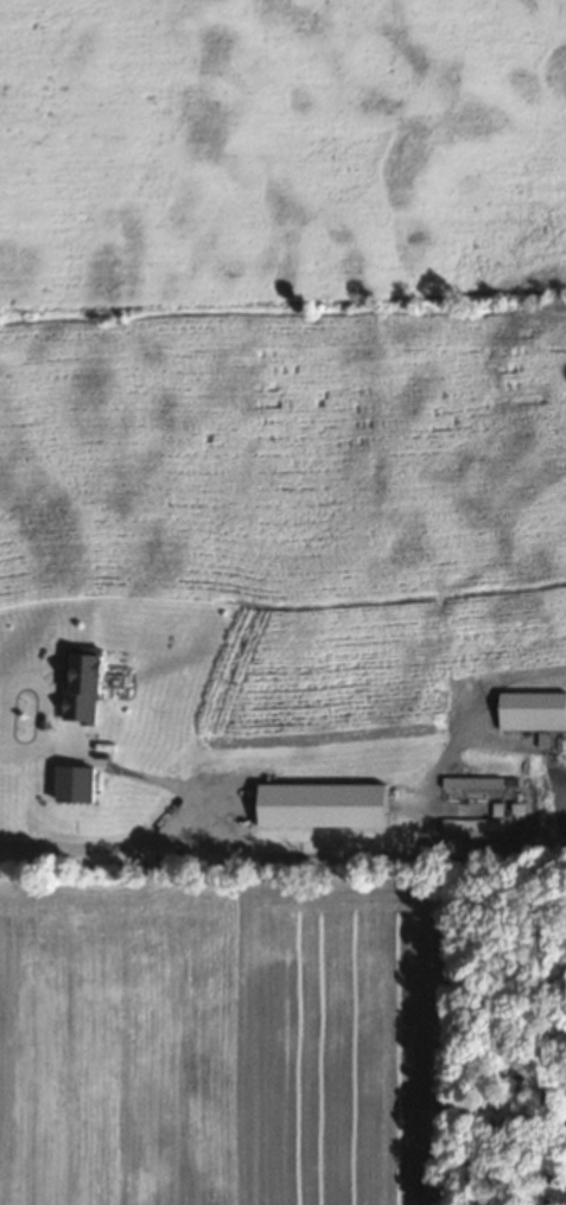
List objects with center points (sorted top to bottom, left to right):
building: (87, 681)
road: (178, 804)

